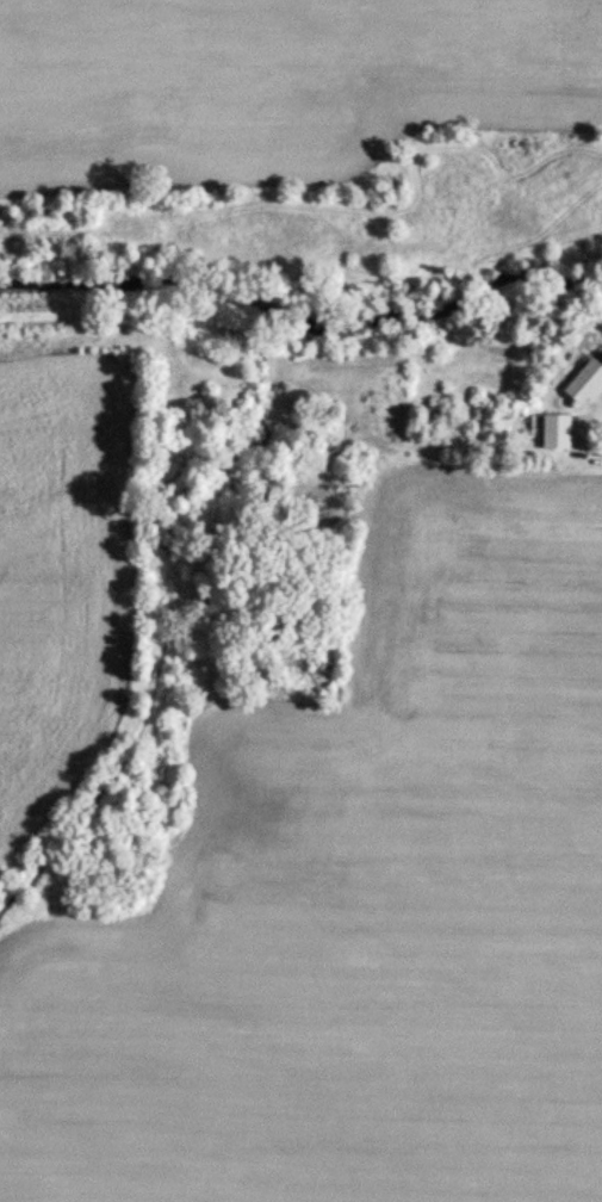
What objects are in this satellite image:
building: (582, 385)
building: (553, 434)
road: (600, 438)

